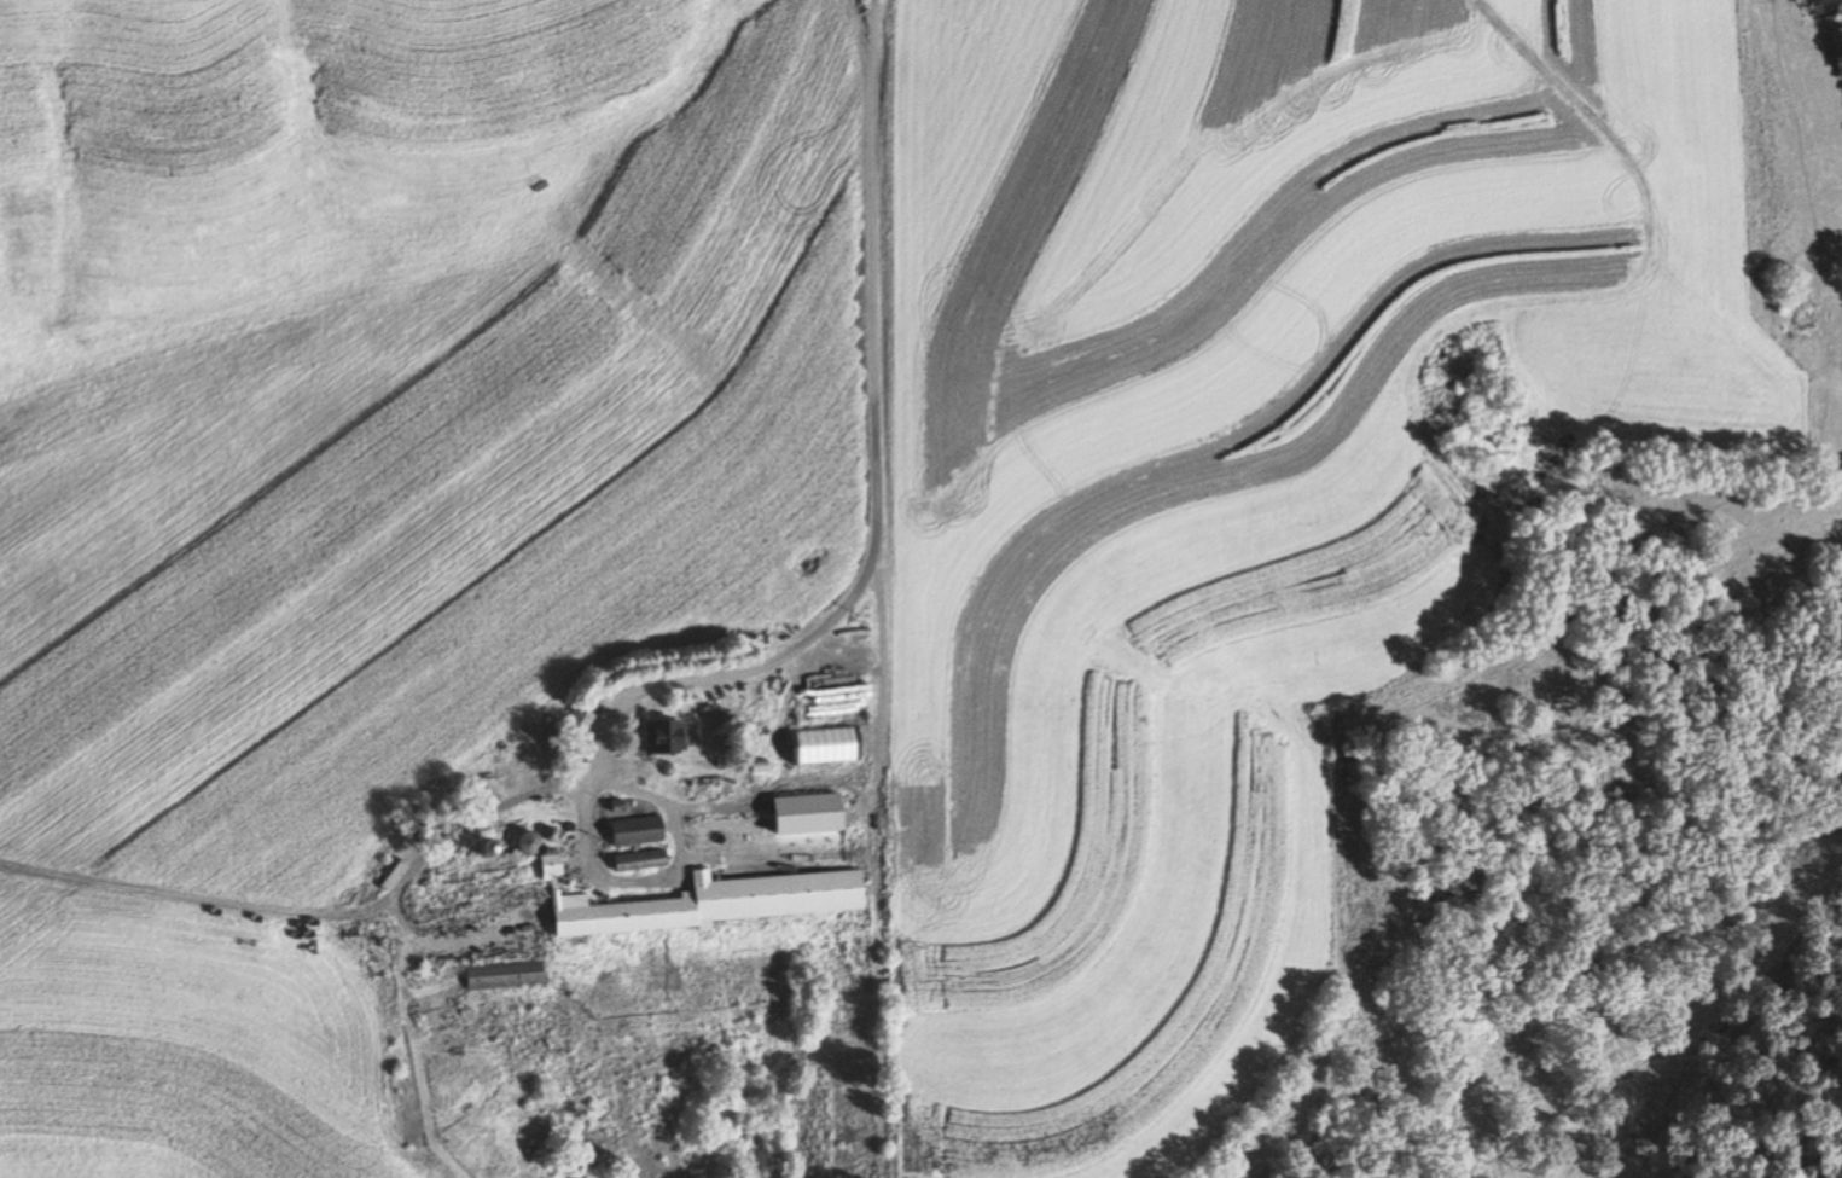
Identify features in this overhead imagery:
road: (667, 642)
building: (581, 726)
building: (674, 737)
building: (783, 895)
building: (490, 975)

